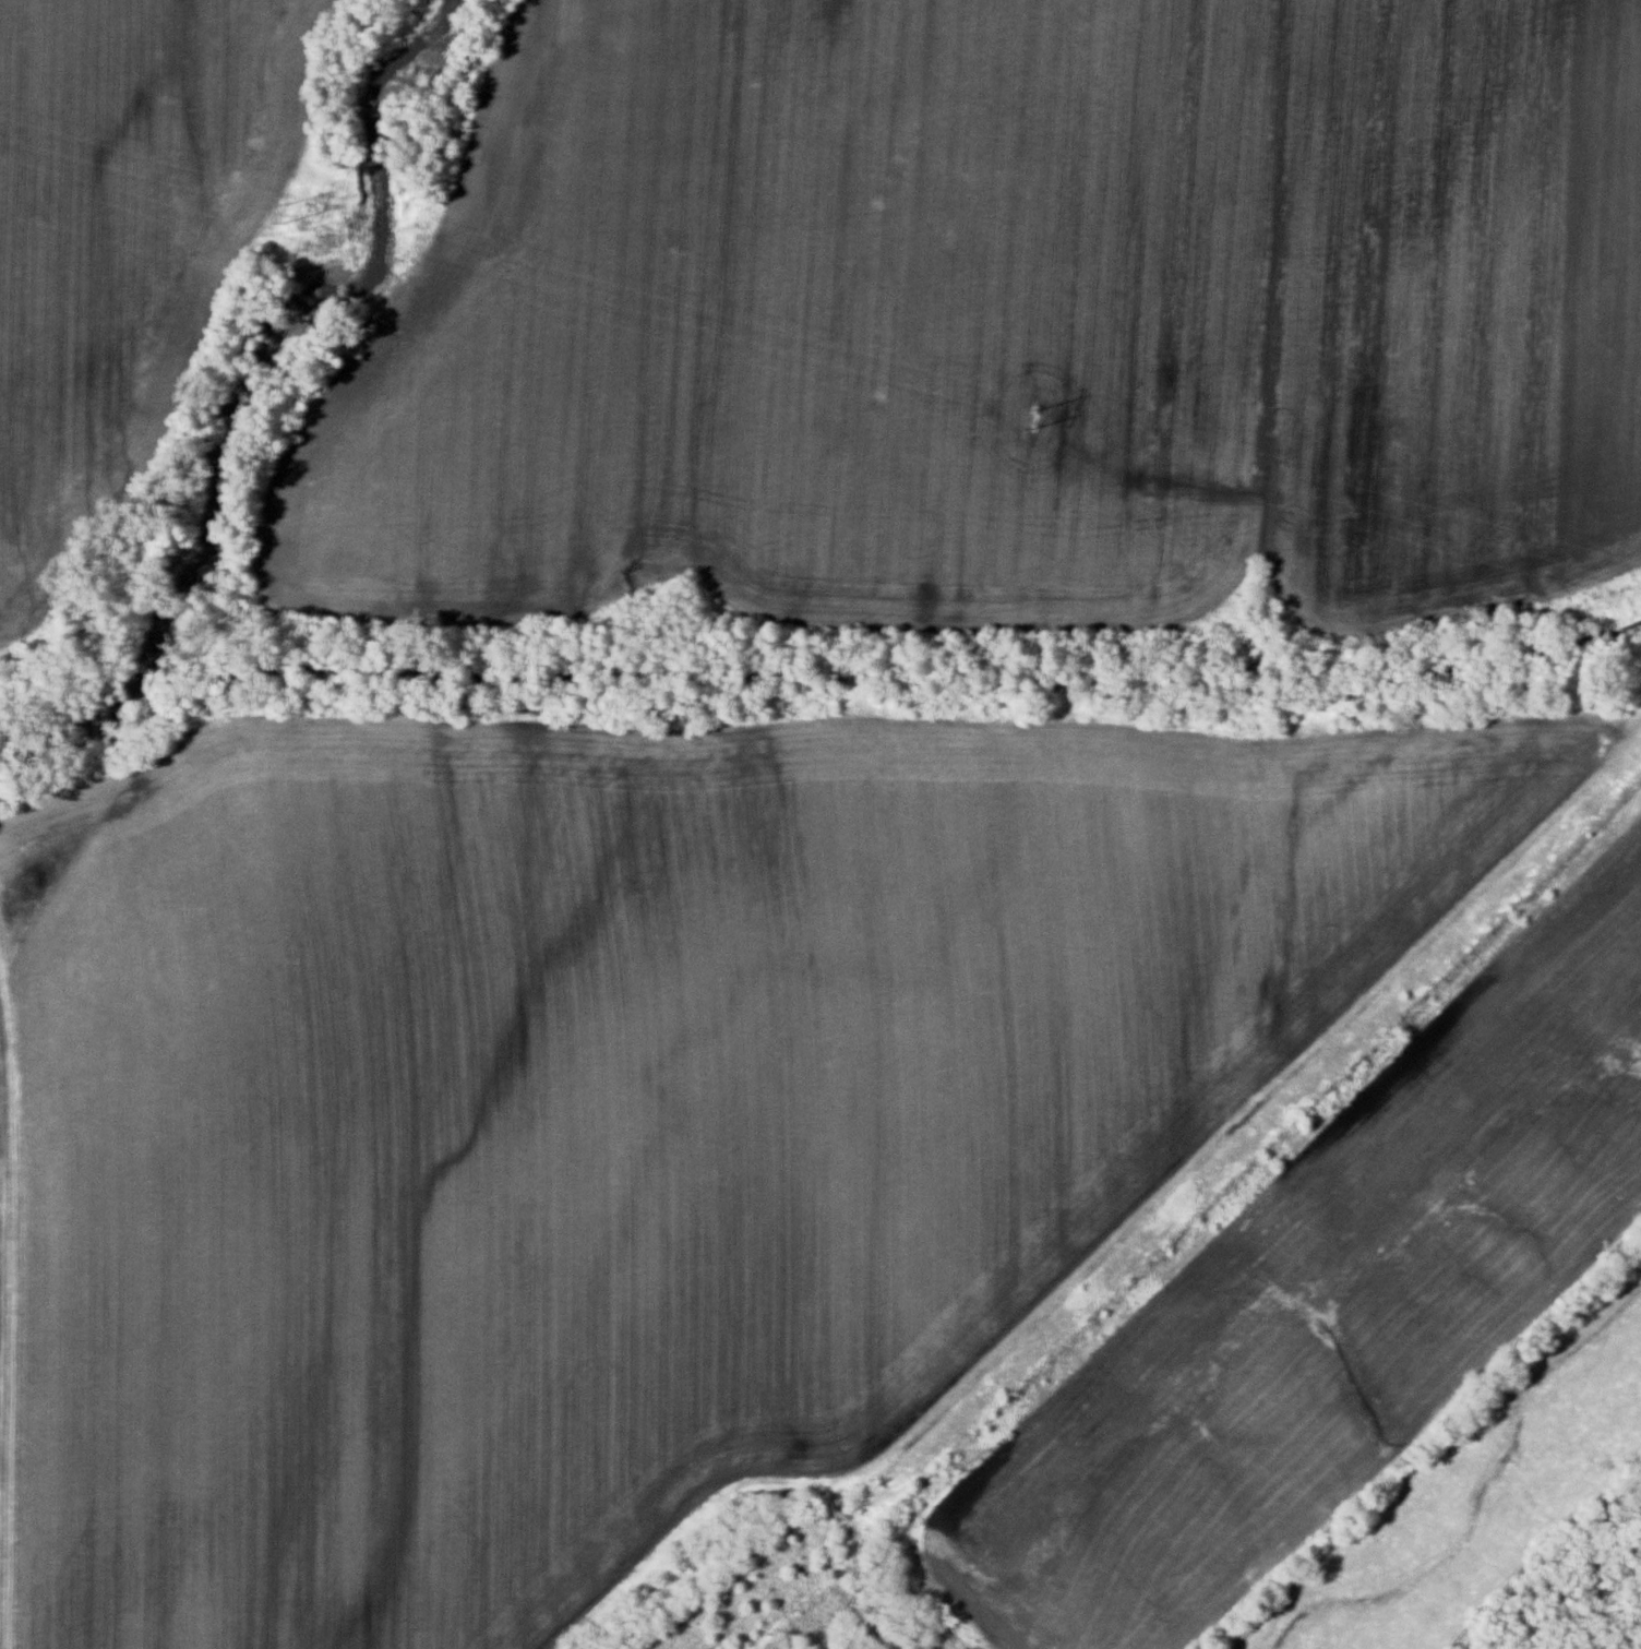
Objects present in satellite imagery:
power tower: (301, 212)
river: (245, 375)
power tower: (1081, 425)
road: (15, 1300)

